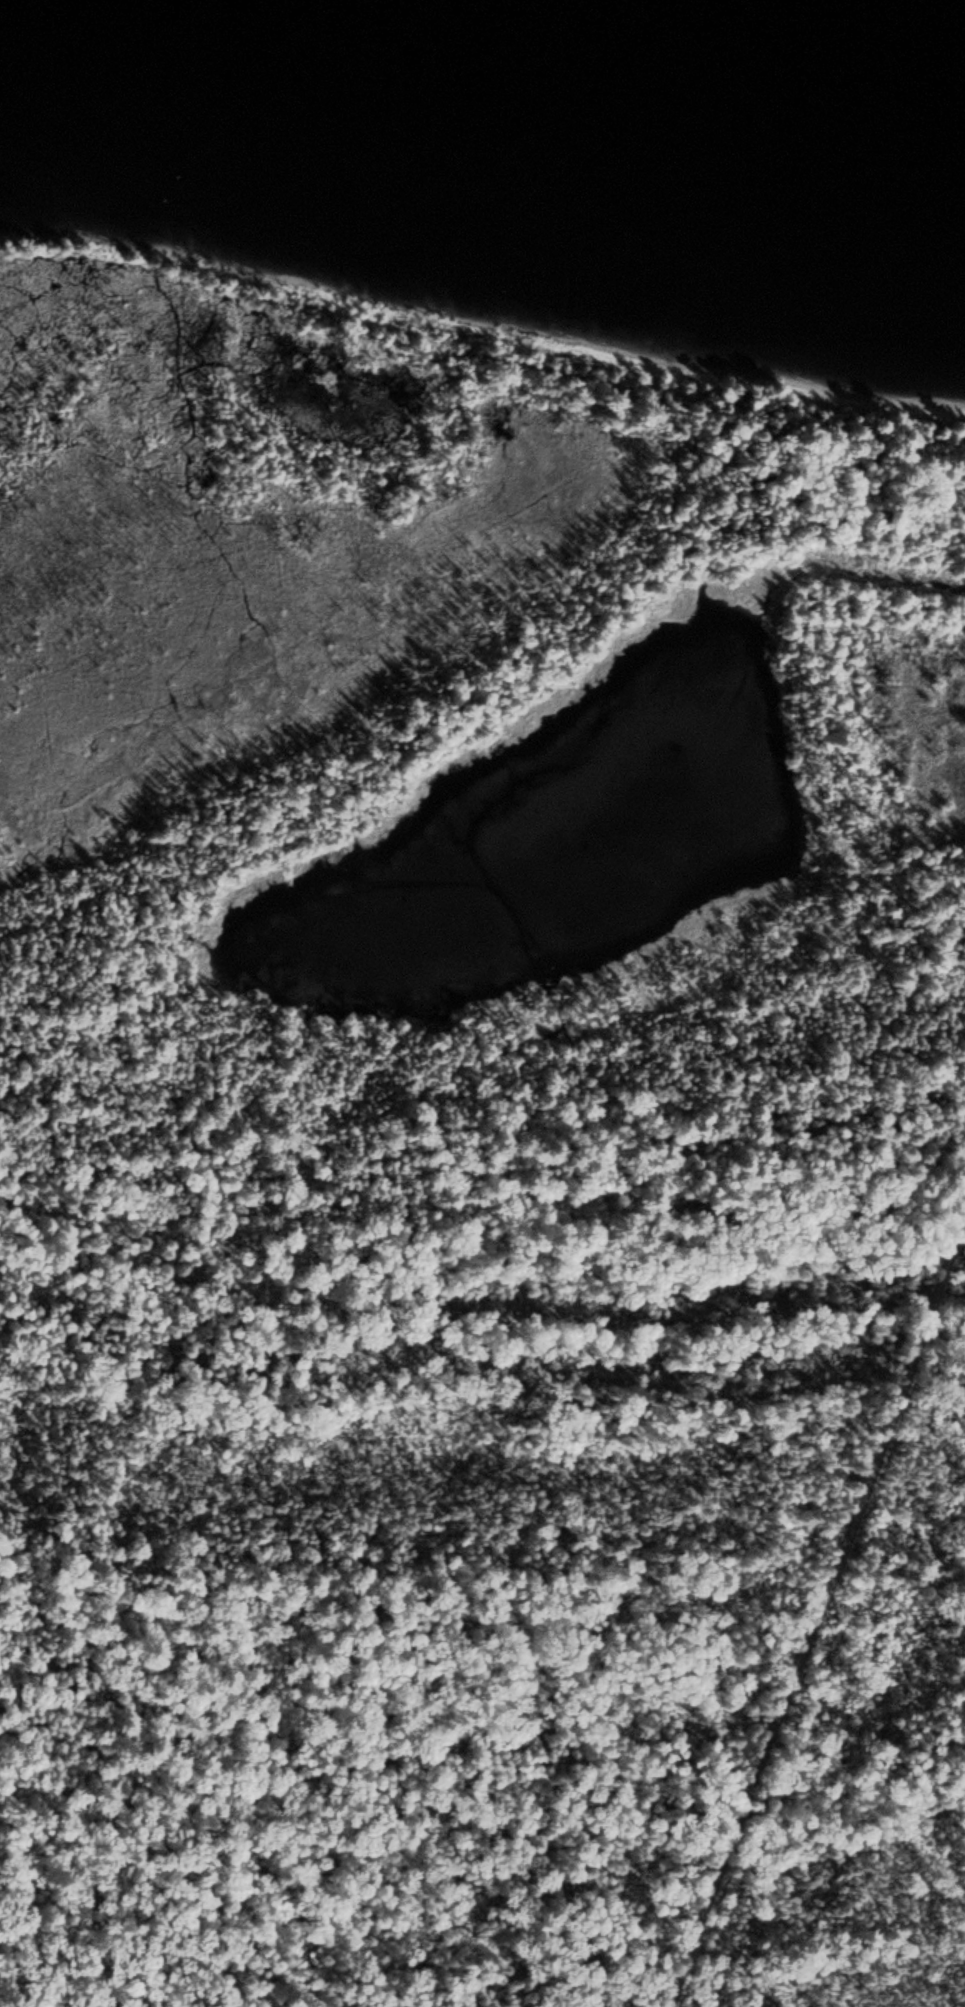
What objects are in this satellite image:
road: (819, 1615)

